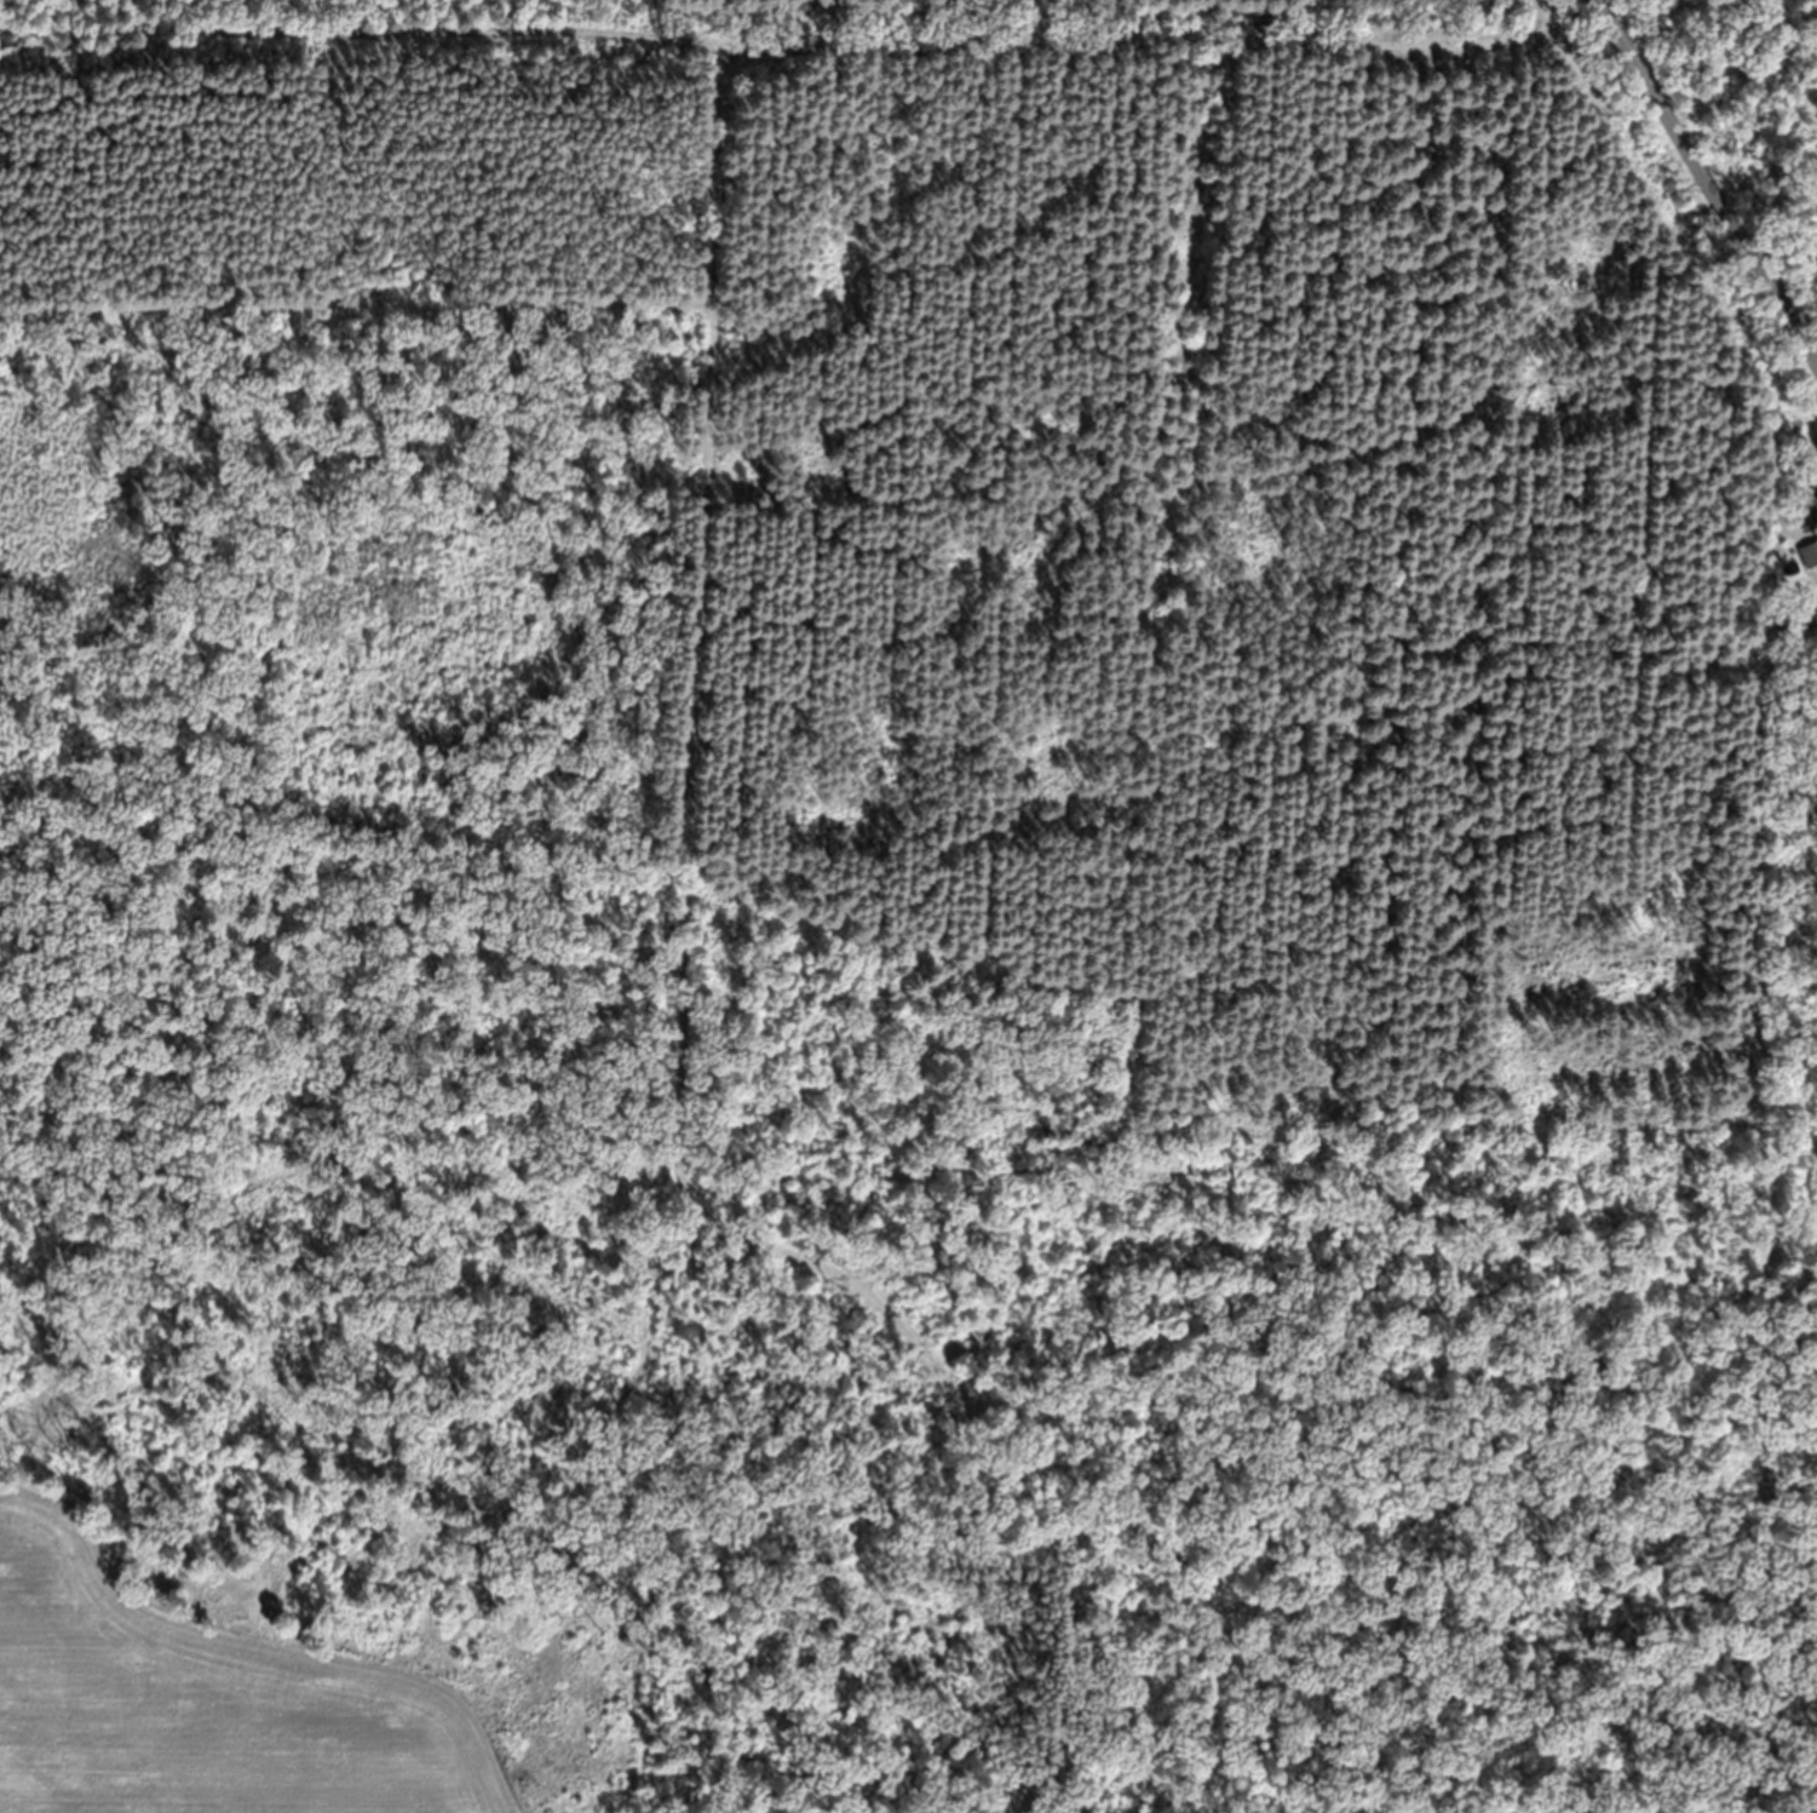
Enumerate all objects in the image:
road: (1707, 179)

